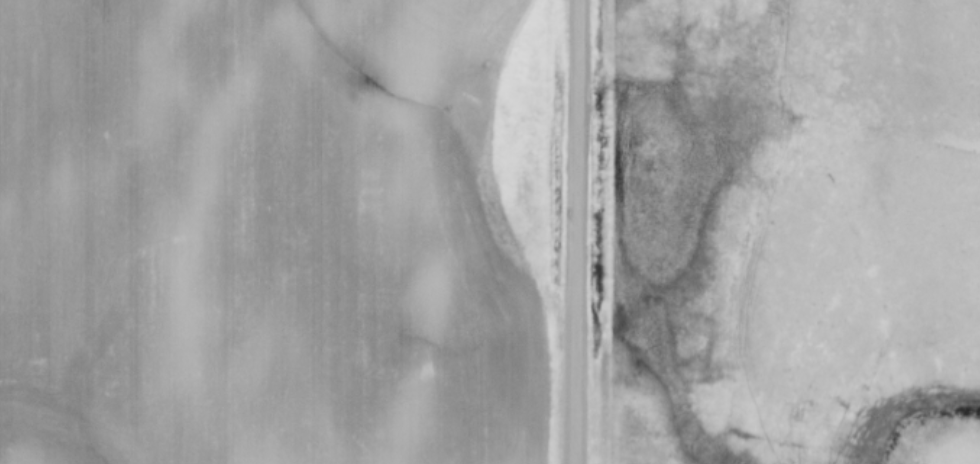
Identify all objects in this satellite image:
road: (577, 232)

